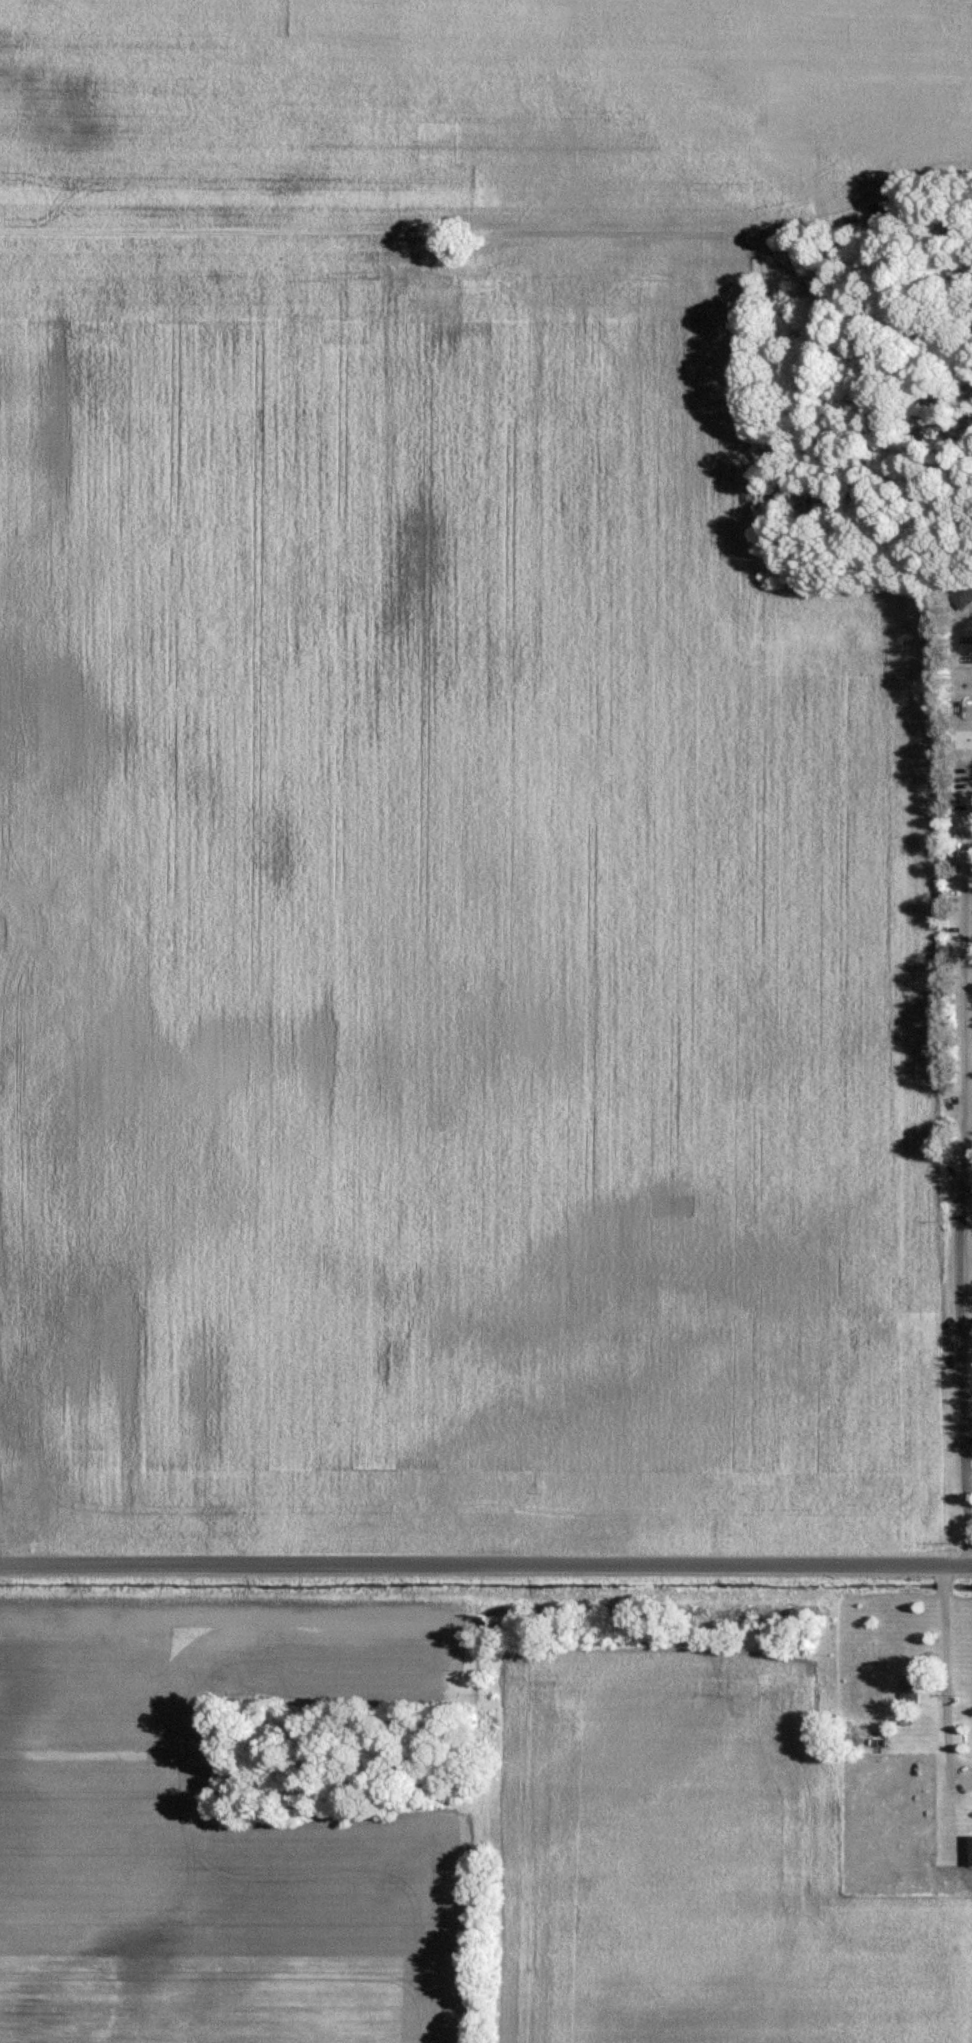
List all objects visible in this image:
building: (962, 593)
road: (959, 1183)
road: (486, 1567)
road: (934, 1669)
building: (910, 1690)
building: (970, 1851)

